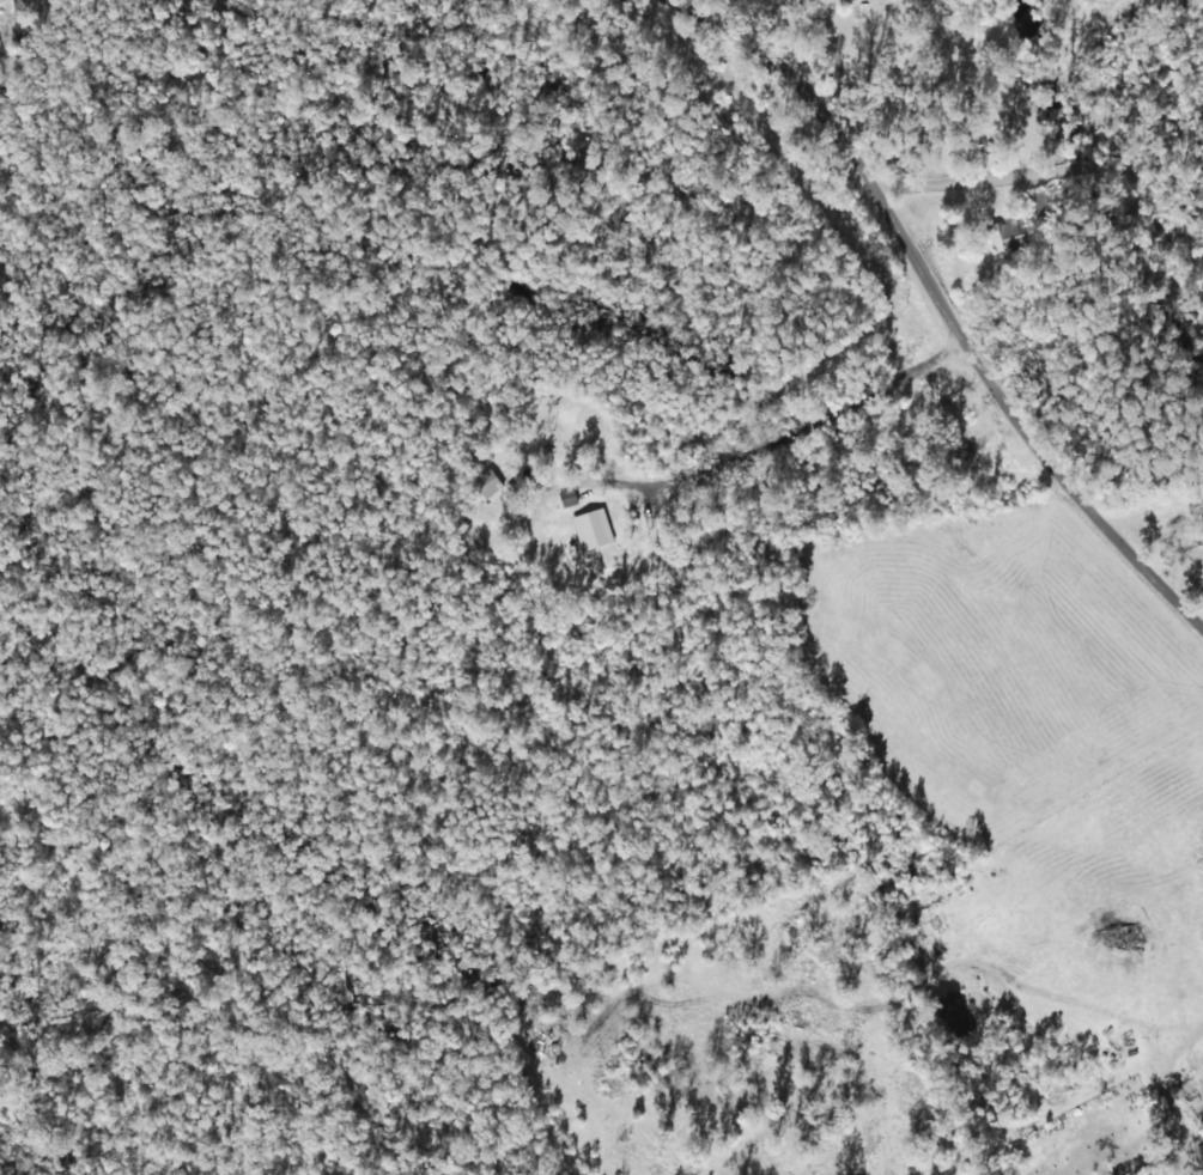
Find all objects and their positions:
road: (747, 72)
road: (90, 77)
road: (1031, 156)
building: (1005, 235)
road: (895, 274)
road: (757, 440)
building: (567, 497)
road: (1067, 510)
building: (593, 528)
road: (153, 877)

